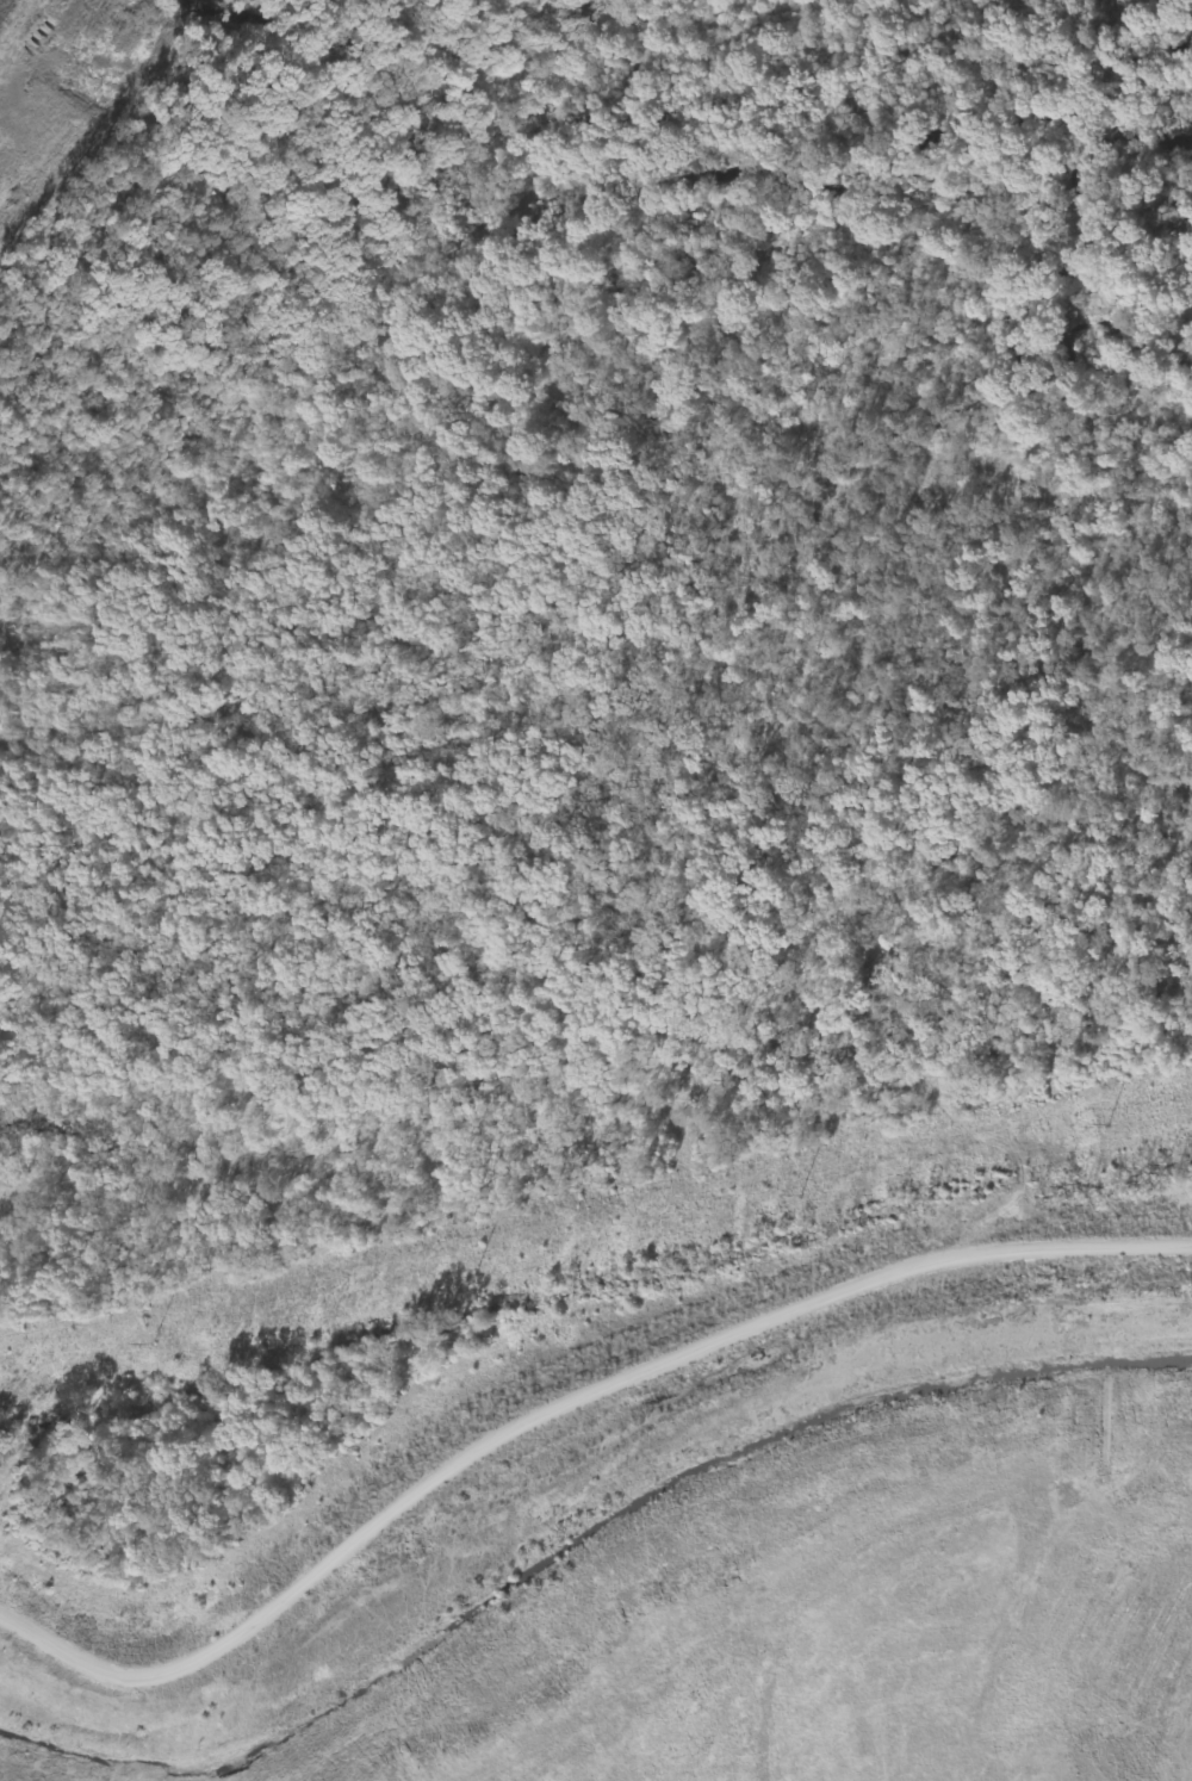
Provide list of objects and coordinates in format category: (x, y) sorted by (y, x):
quarry: (41, 44)
quarry: (1172, 1575)

